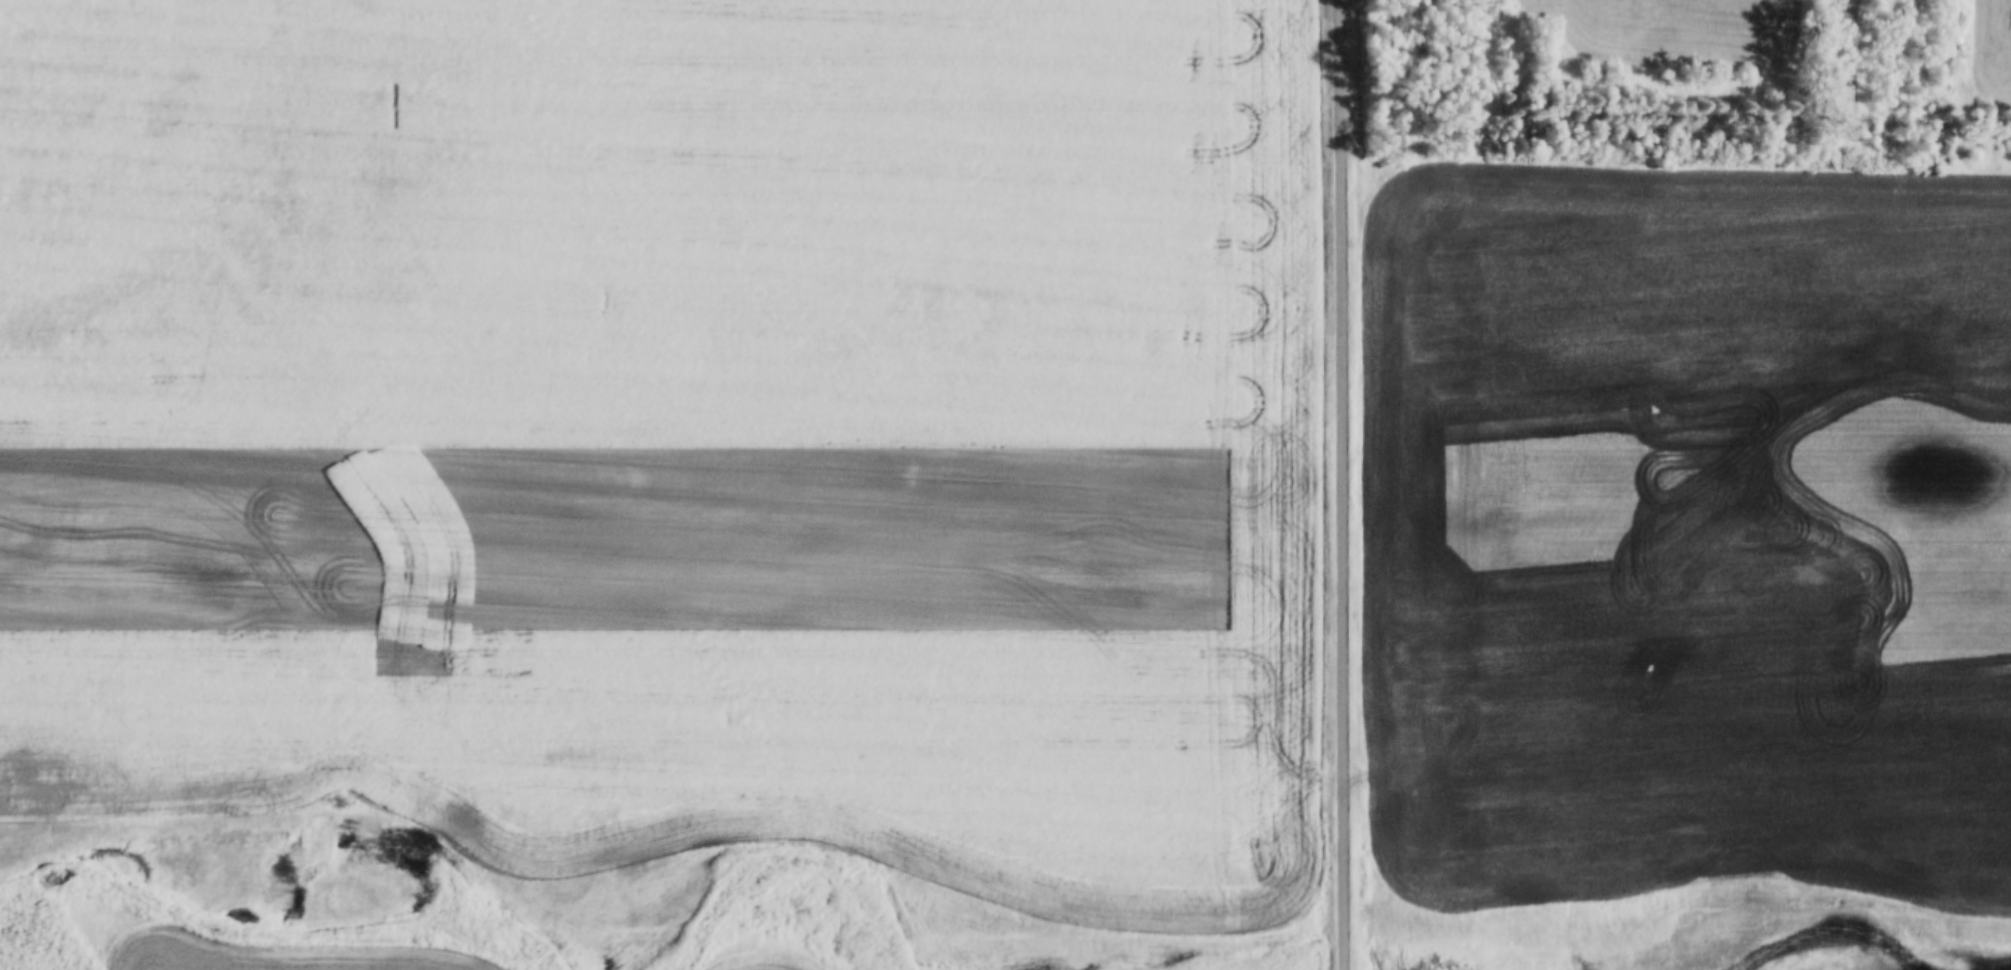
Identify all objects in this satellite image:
road: (1345, 484)
road: (286, 945)
road: (756, 968)

